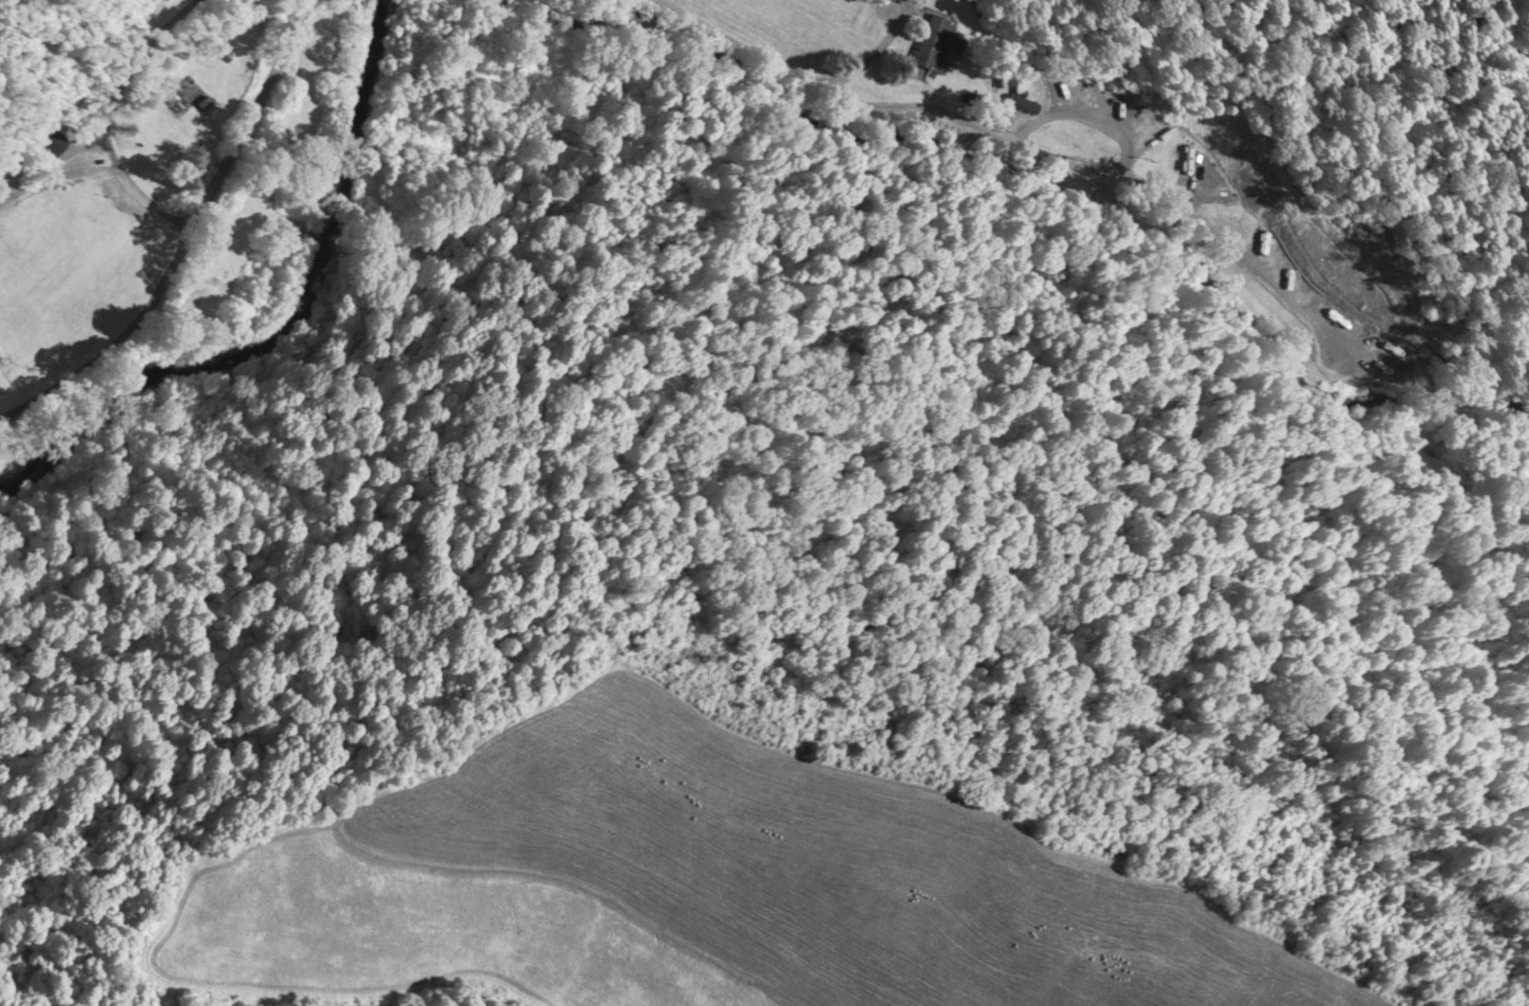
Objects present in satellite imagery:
building: (928, 41)
road: (106, 113)
road: (956, 113)
building: (1204, 170)
road: (185, 235)

